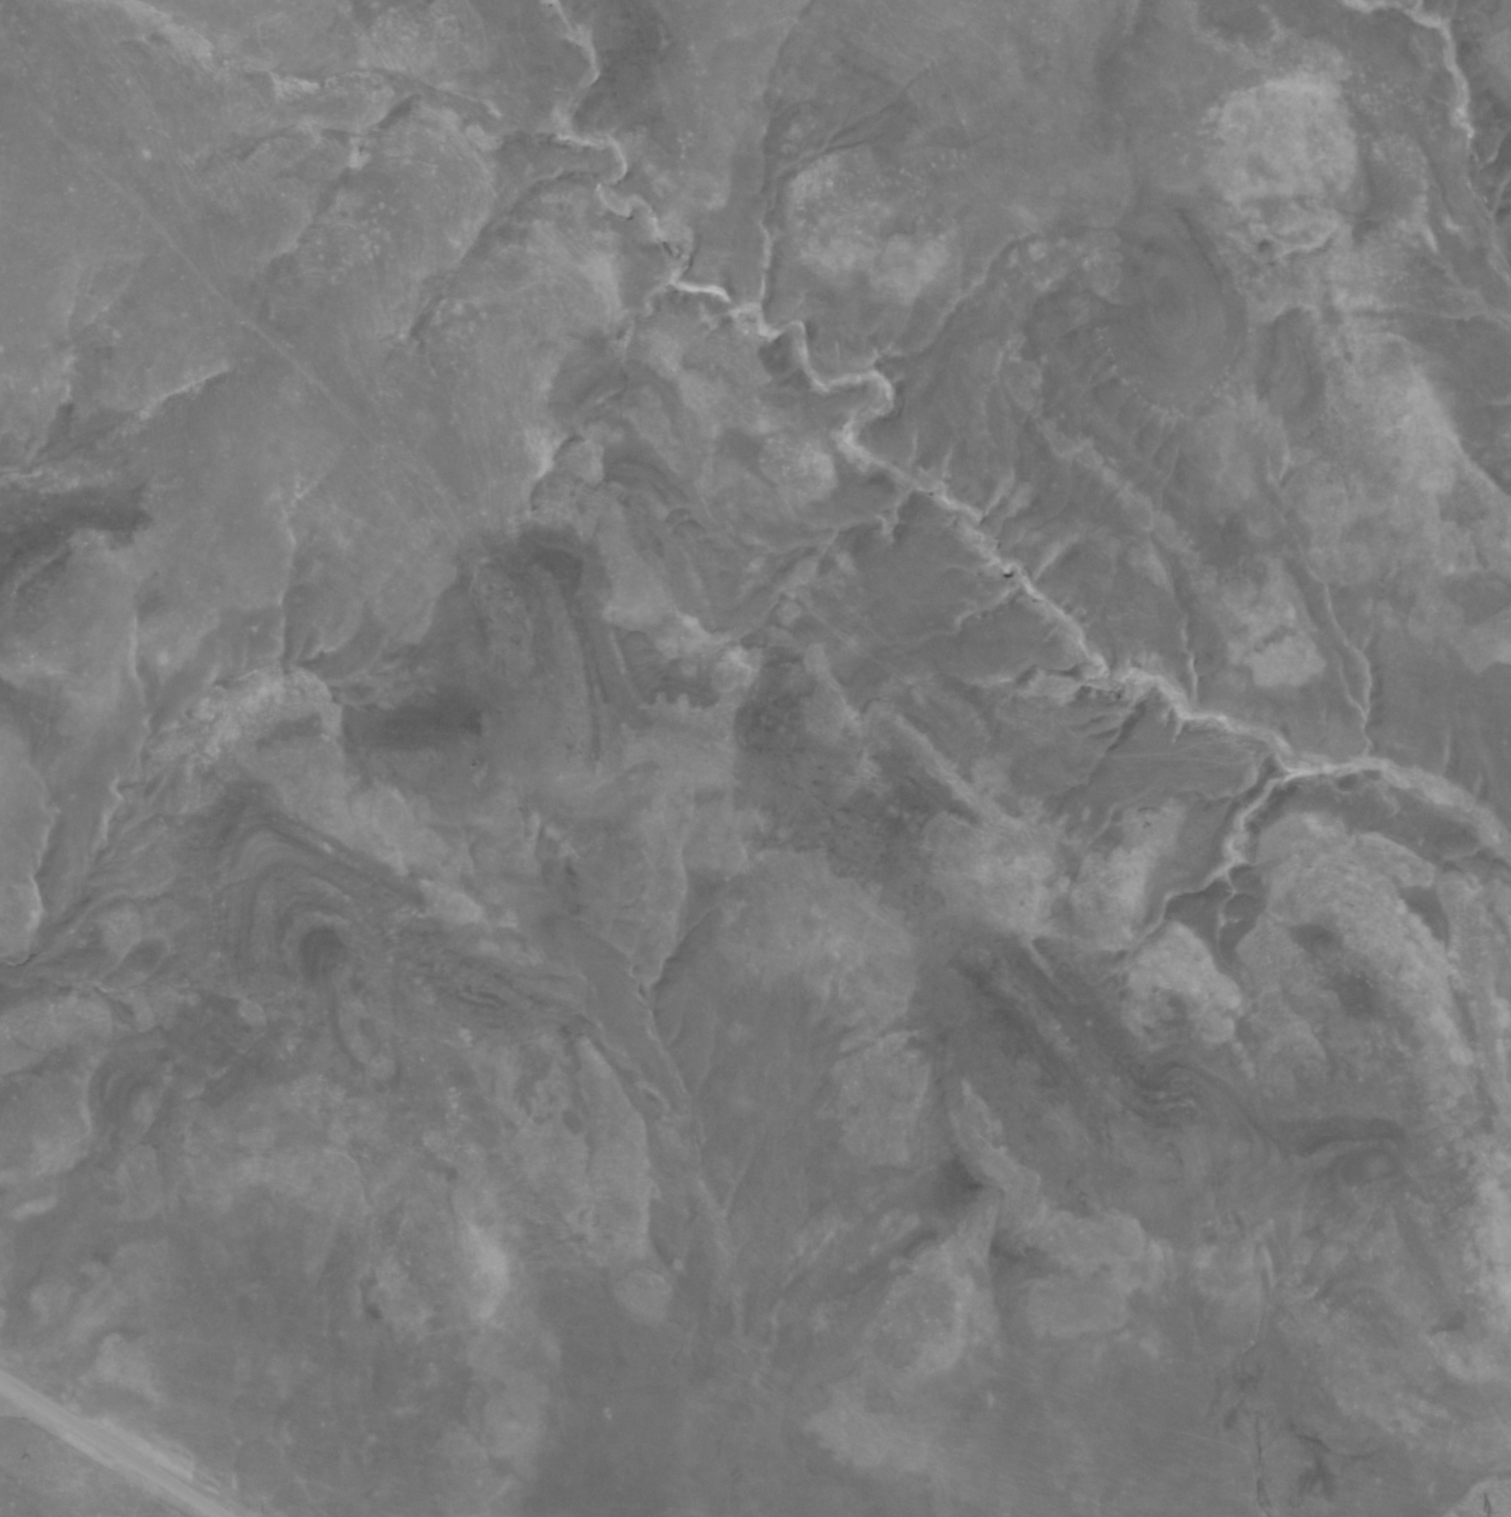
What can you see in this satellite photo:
road: (111, 1447)
power tower: (1482, 1515)

